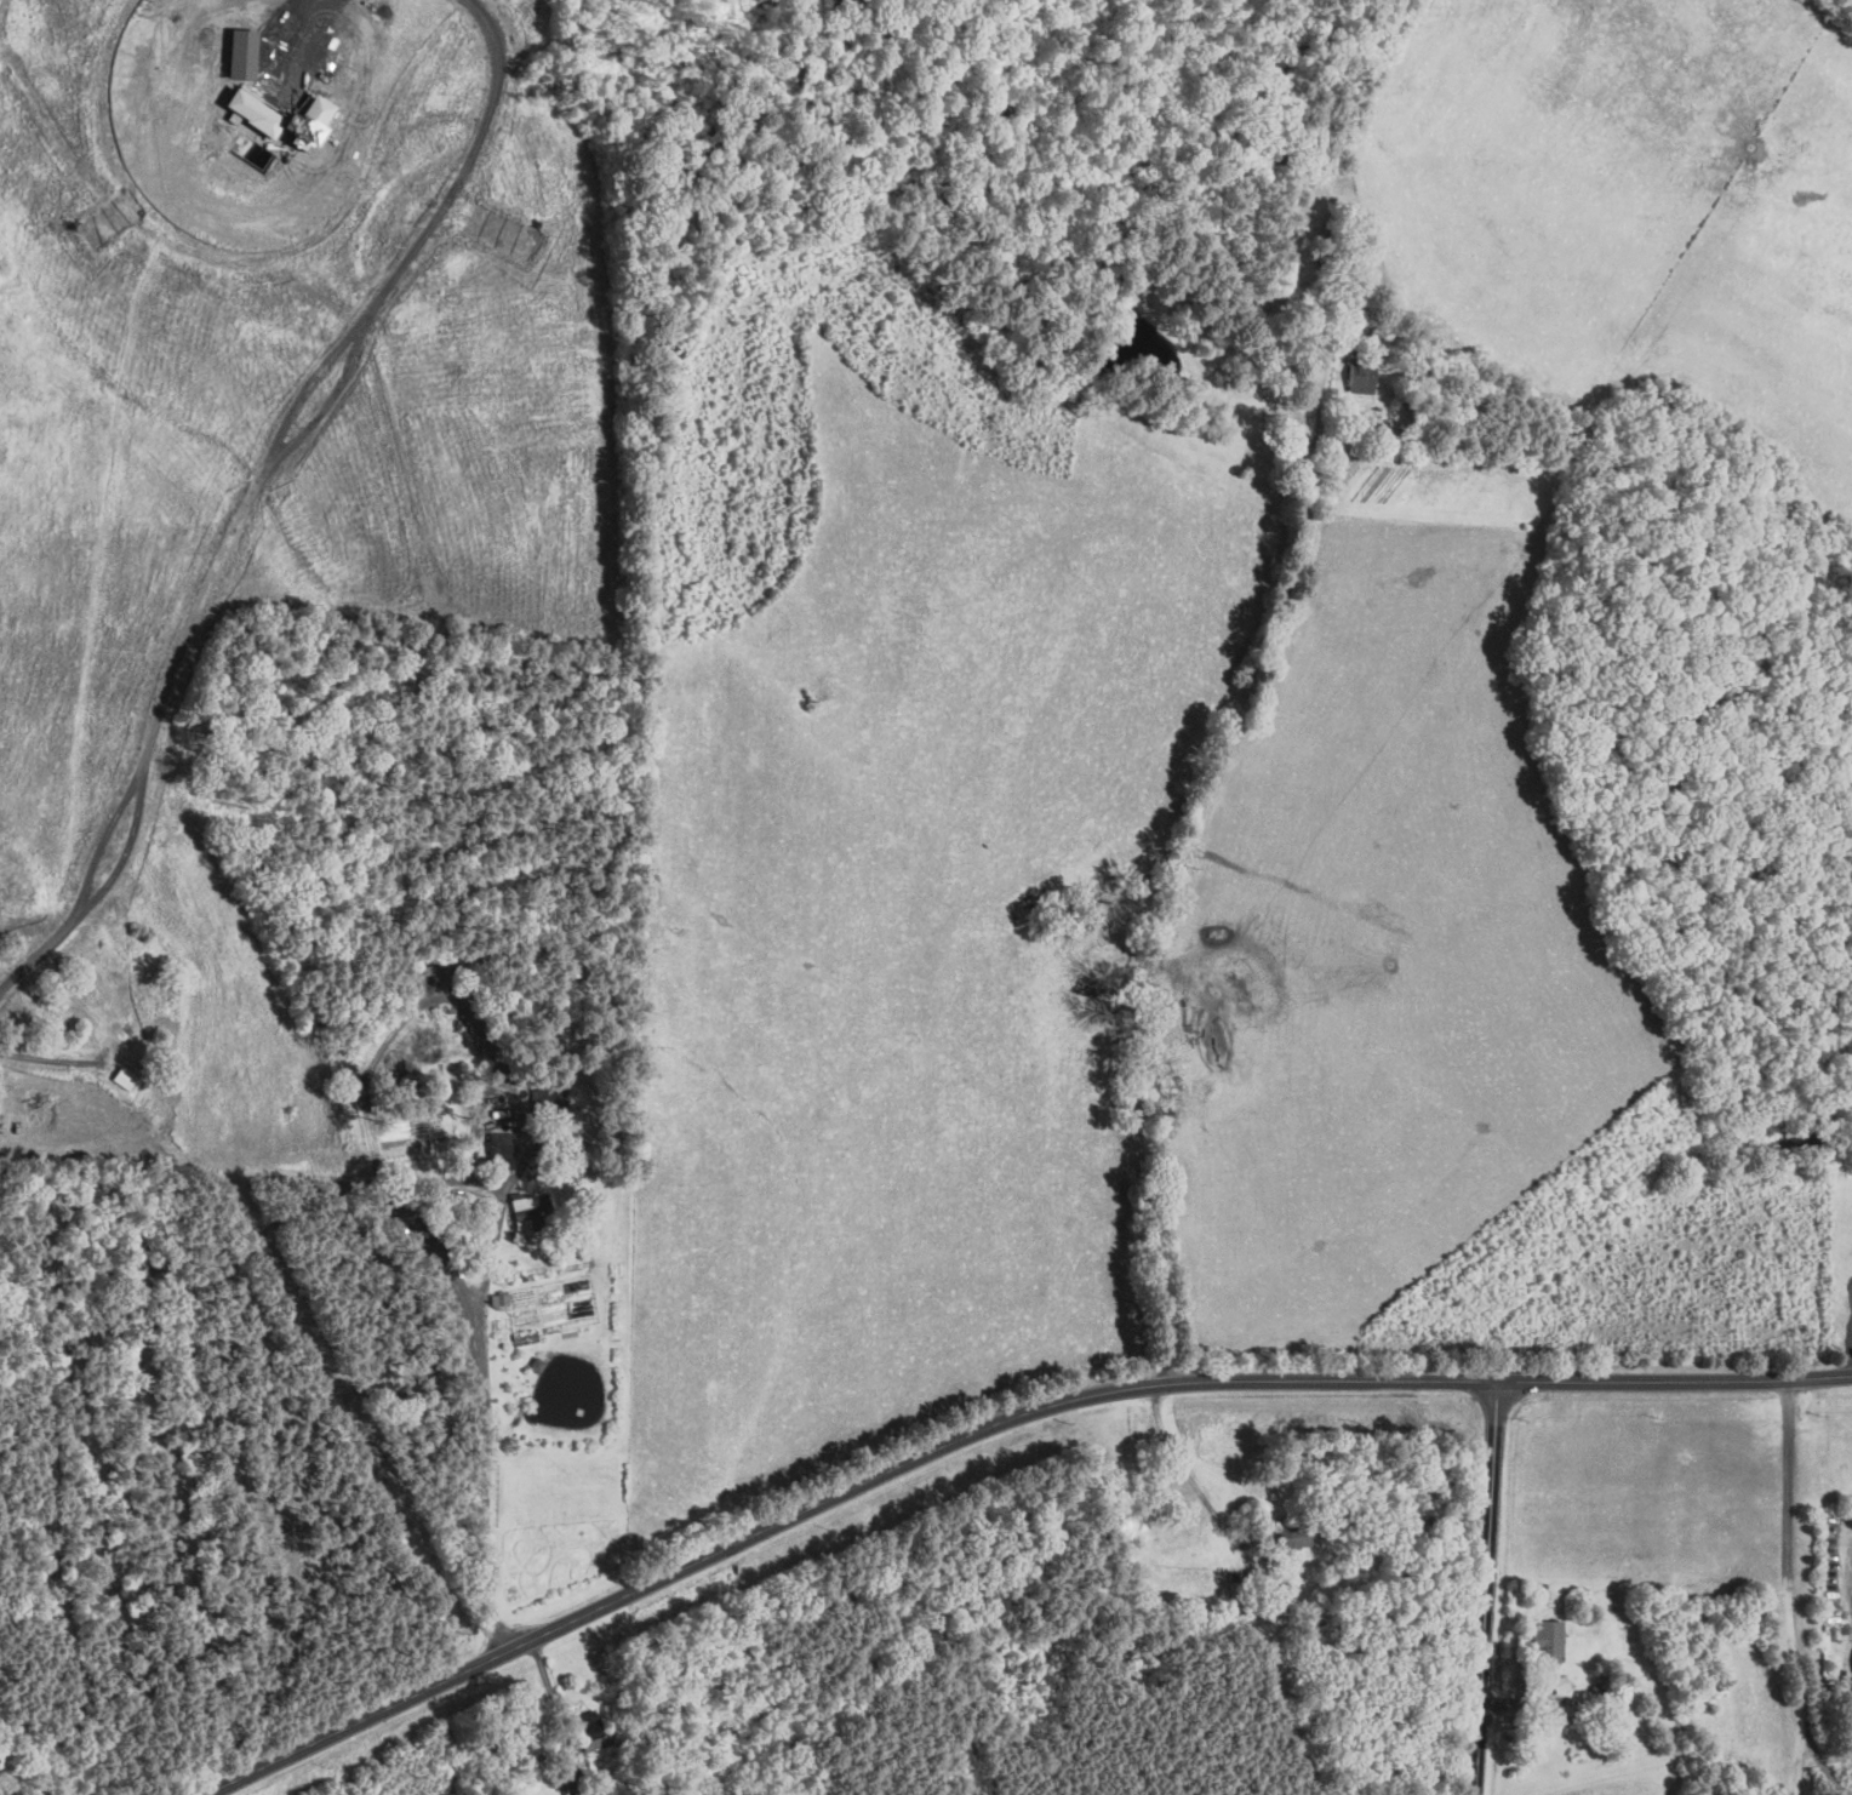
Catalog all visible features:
building: (236, 90)
building: (1367, 377)
road: (250, 487)
road: (1174, 869)
building: (424, 978)
building: (499, 1145)
building: (530, 1214)
building: (499, 1311)
building: (535, 1361)
road: (486, 1428)
road: (995, 1431)
road: (1188, 1476)
building: (1293, 1536)
road: (1487, 1589)
road: (1790, 1589)
building: (1550, 1640)

